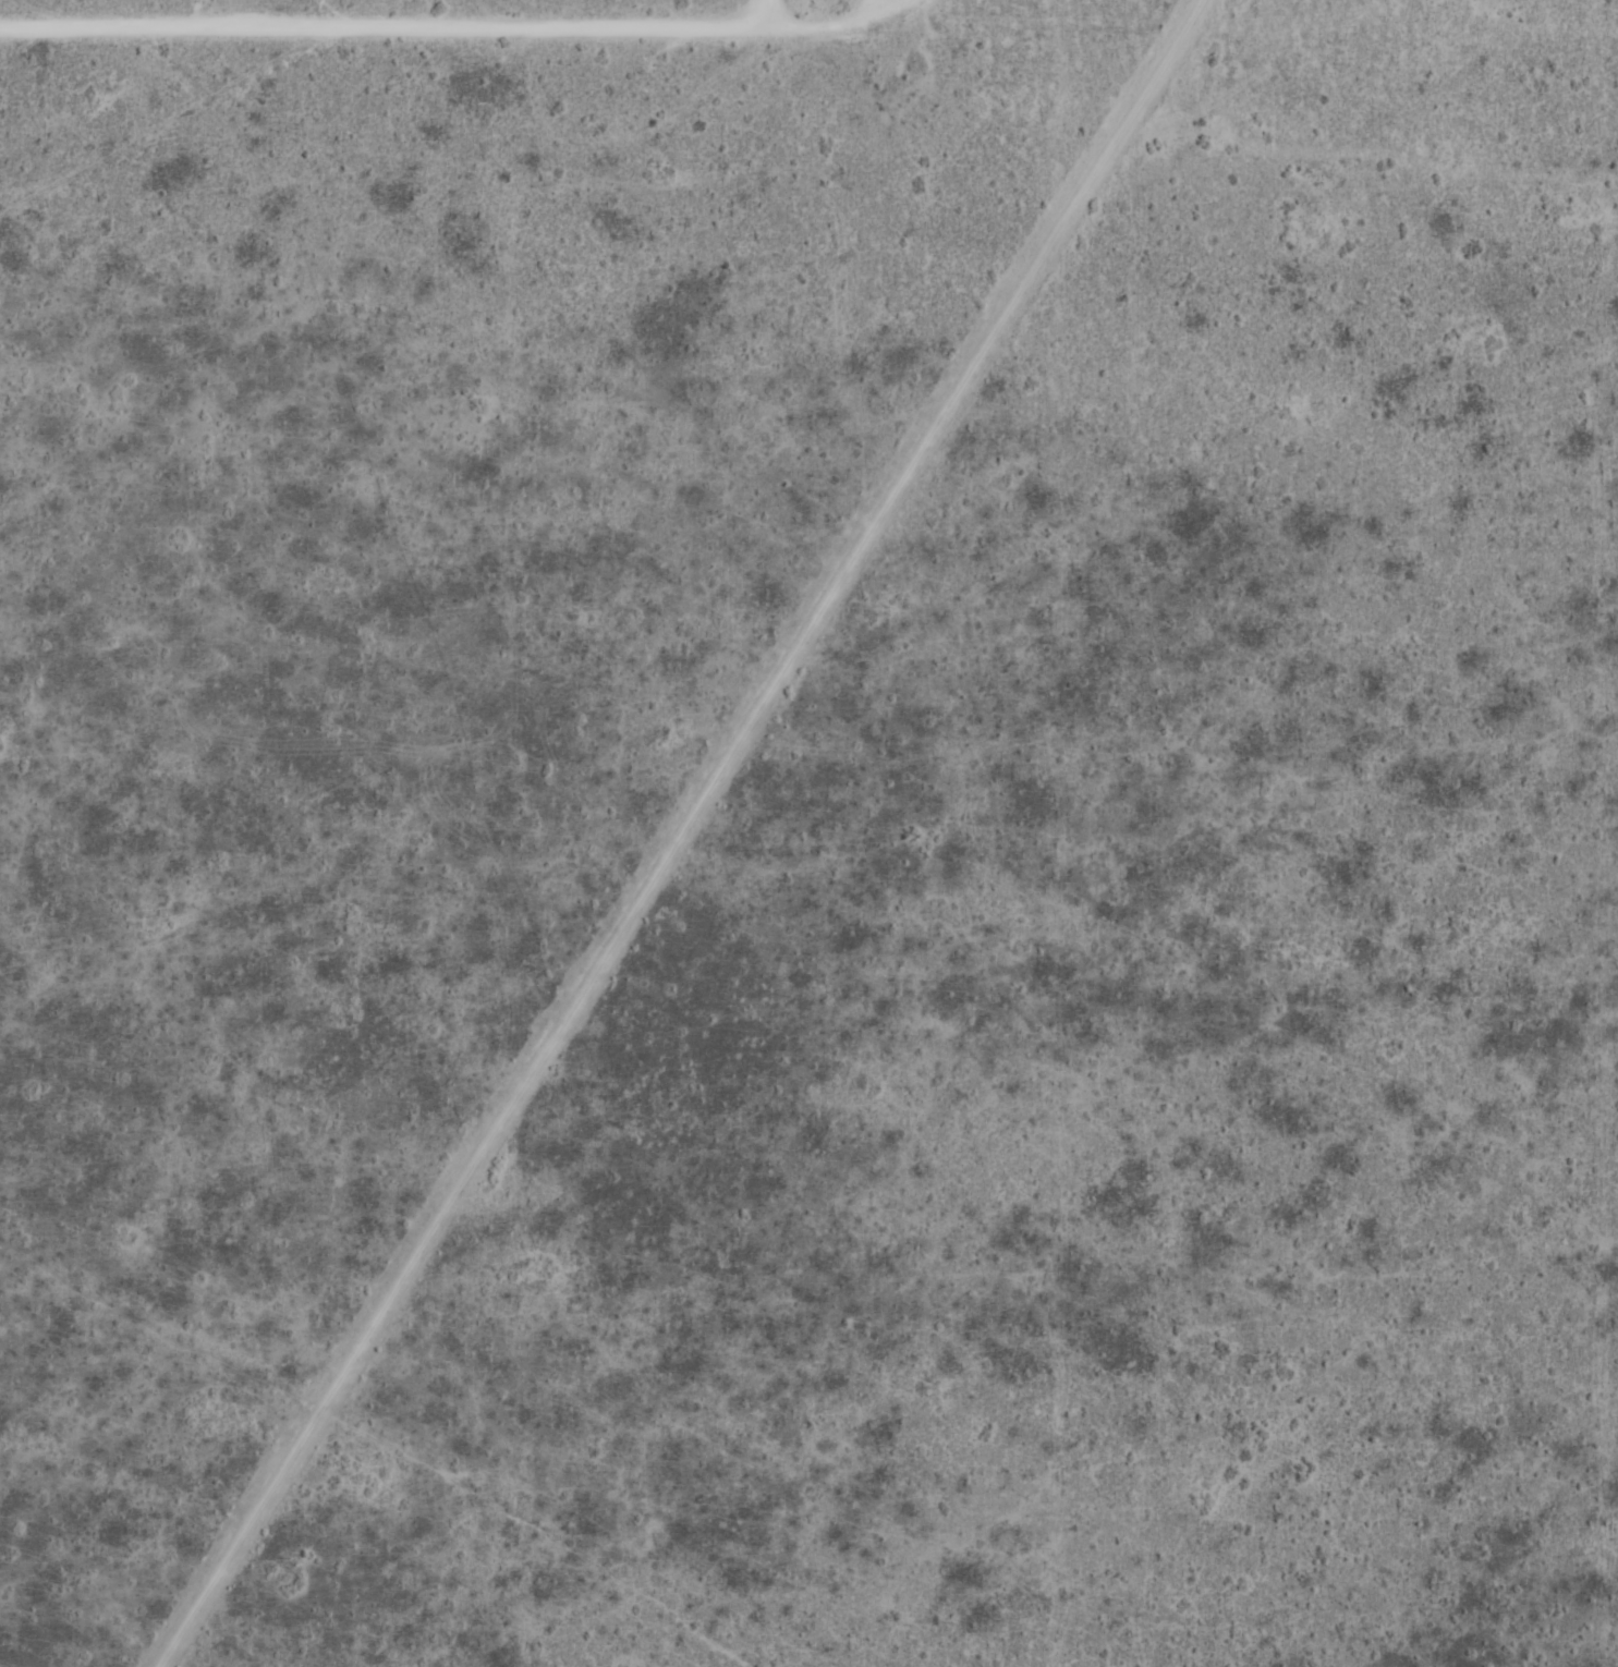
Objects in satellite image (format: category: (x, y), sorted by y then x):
road: (766, 7)
road: (428, 19)
road: (683, 833)

